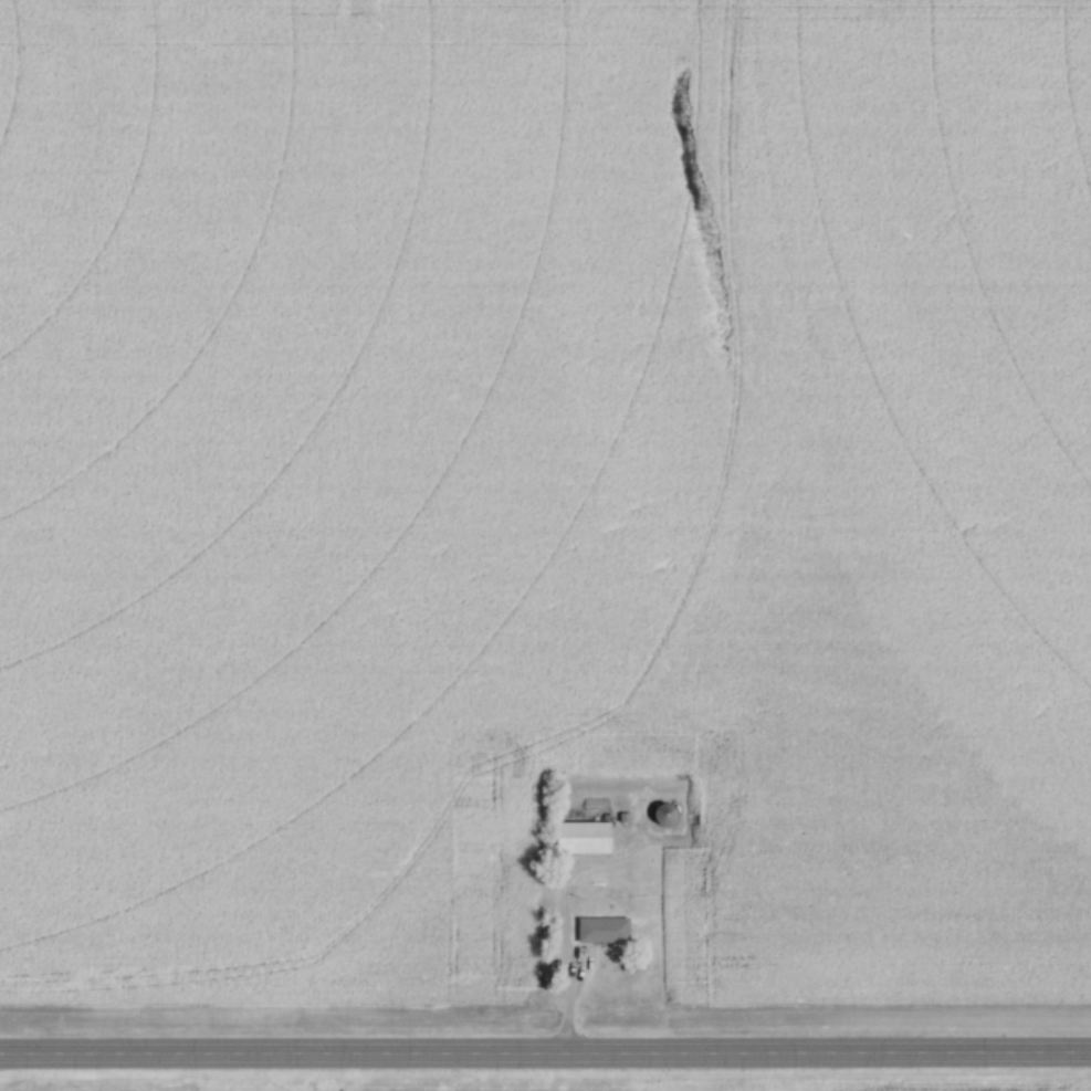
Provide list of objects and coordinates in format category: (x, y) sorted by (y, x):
building: (662, 817)
building: (580, 839)
building: (601, 932)
road: (545, 1058)

